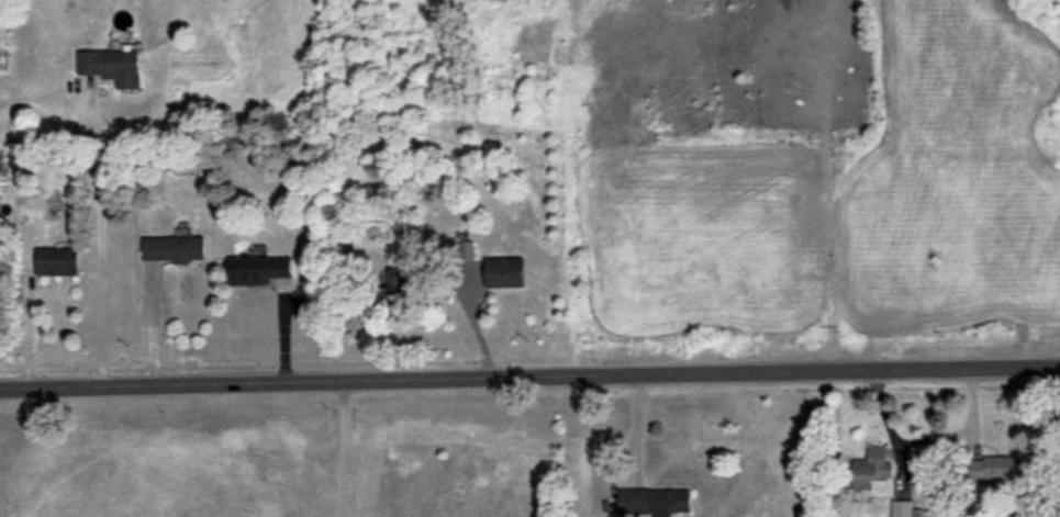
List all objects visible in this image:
building: (112, 67)
building: (174, 249)
building: (458, 250)
road: (98, 251)
building: (56, 261)
building: (258, 269)
building: (505, 272)
building: (395, 285)
road: (155, 335)
road: (529, 379)
building: (870, 468)
building: (996, 469)
building: (654, 501)
building: (903, 509)

